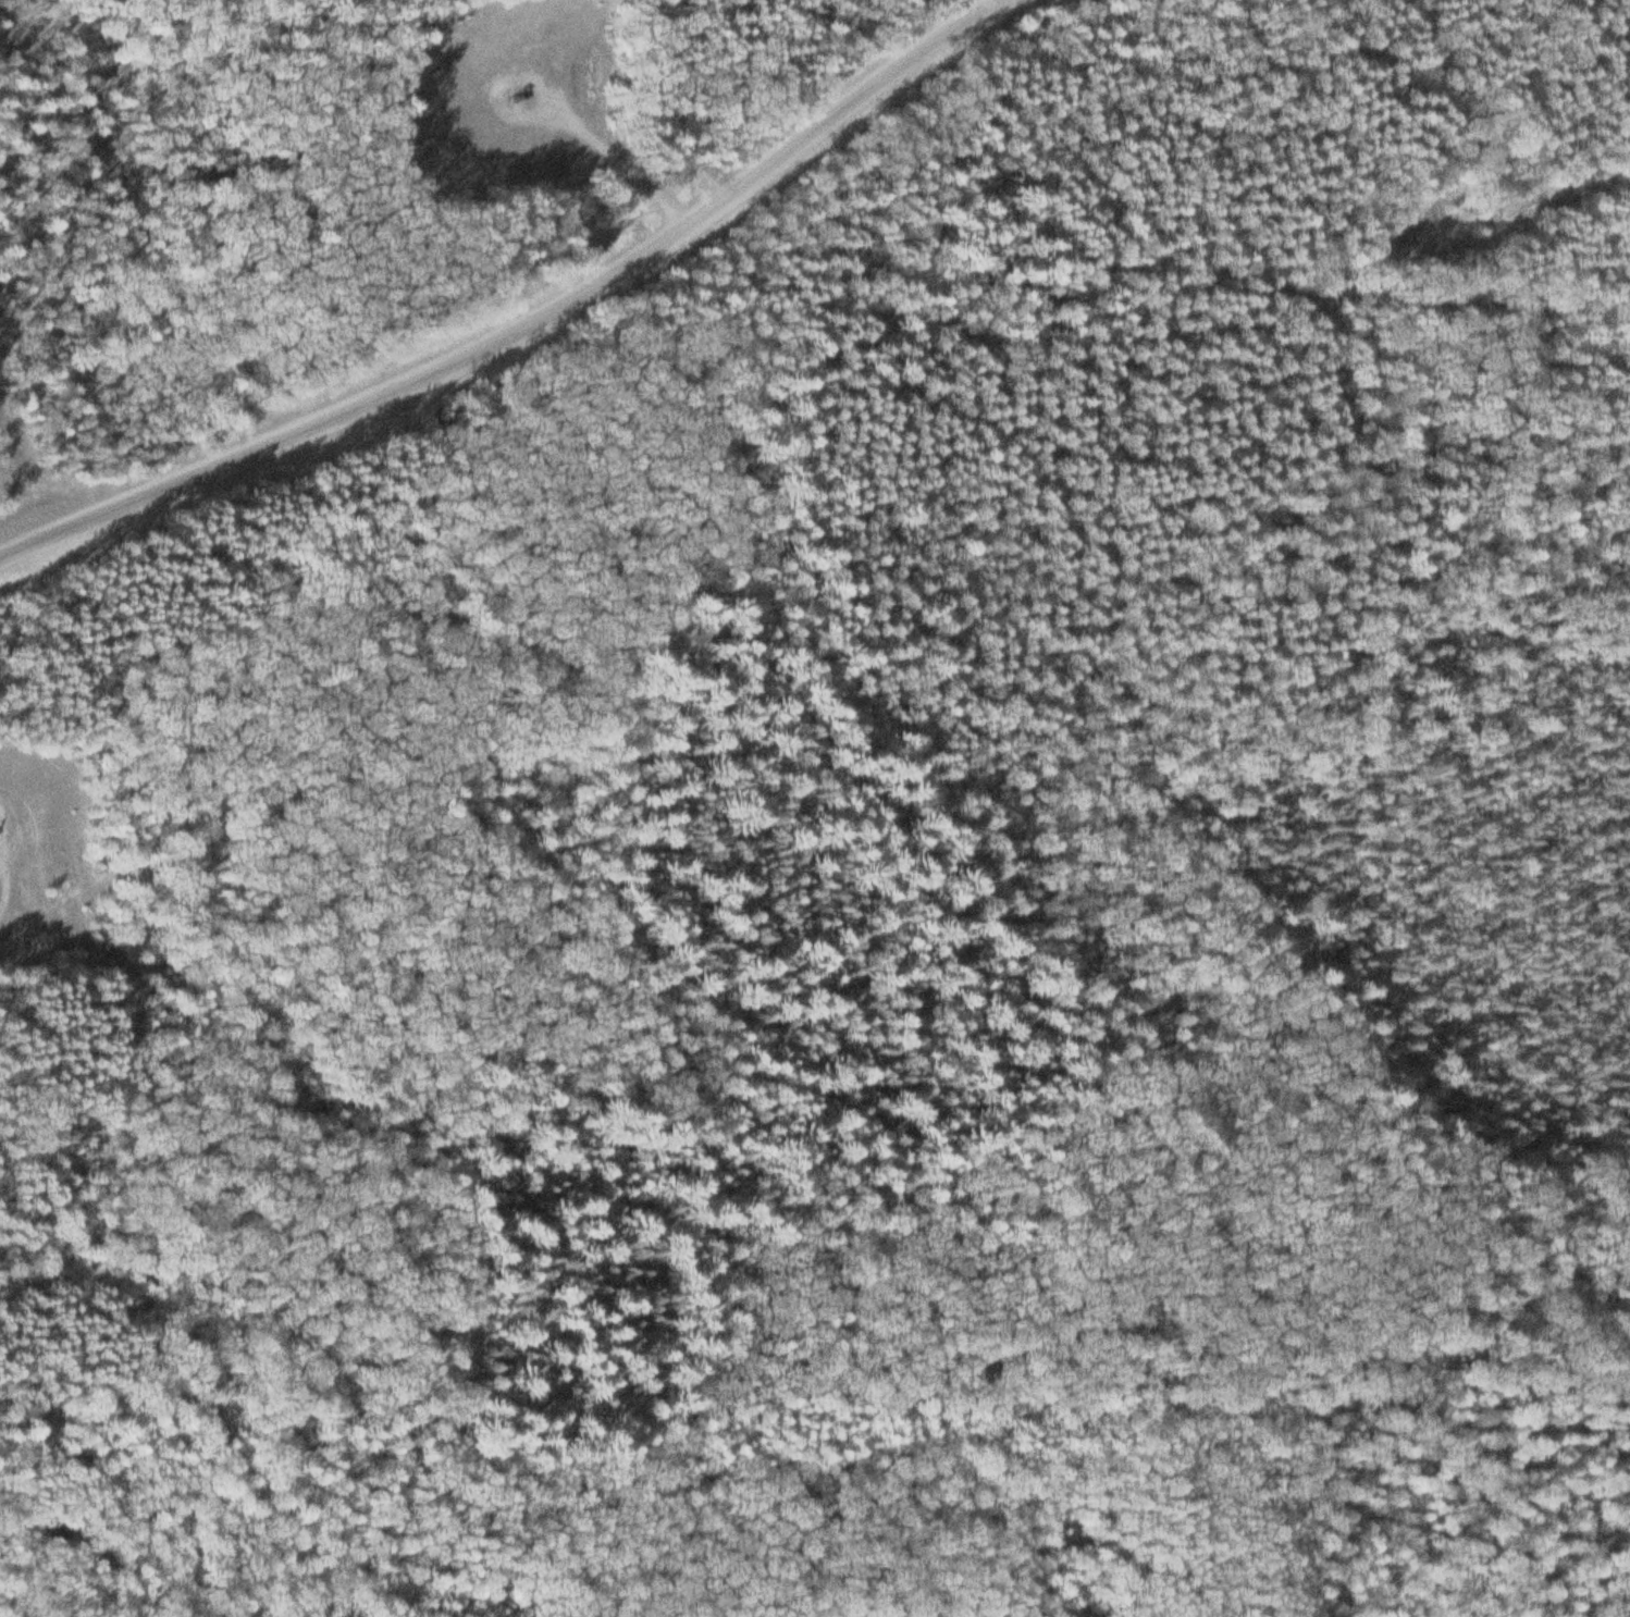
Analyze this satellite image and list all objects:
petroleum well: (522, 94)
road: (1496, 150)
road: (526, 317)

